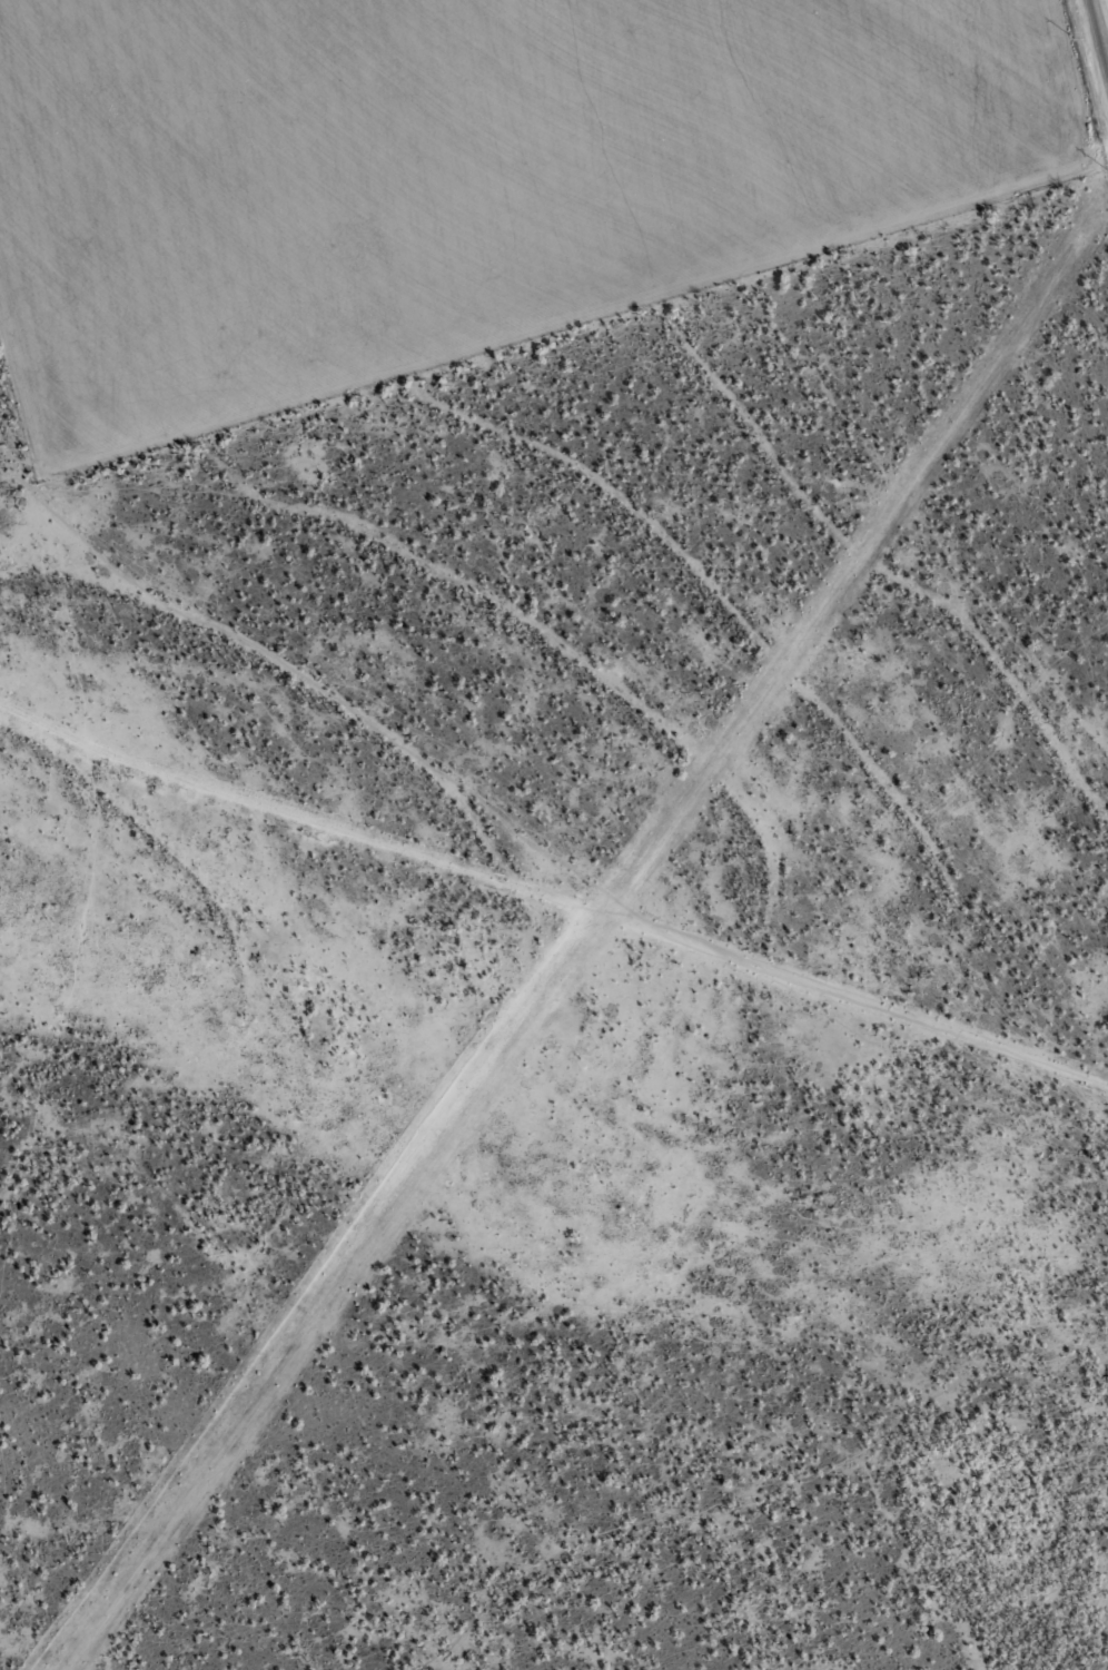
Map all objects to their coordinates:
road: (1098, 39)

